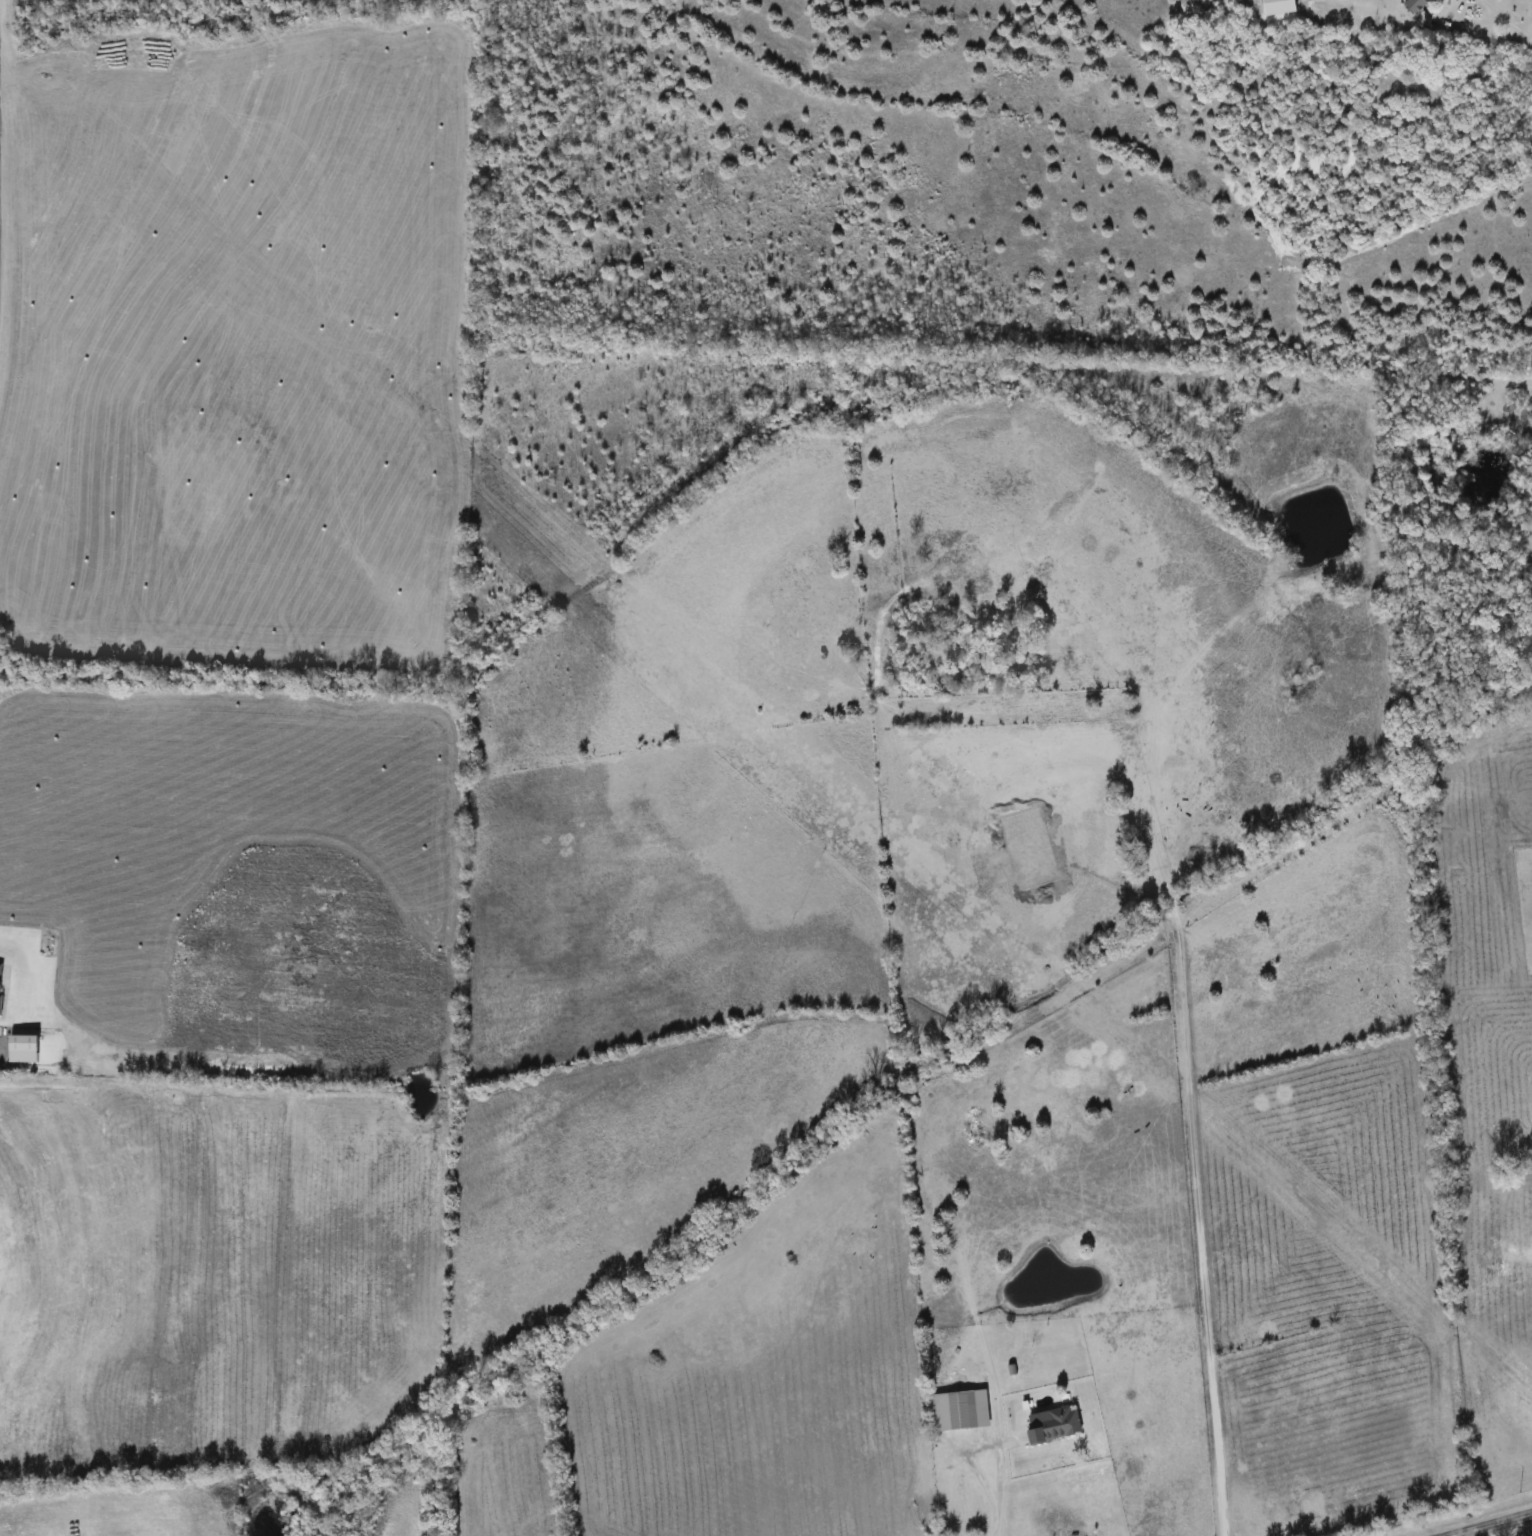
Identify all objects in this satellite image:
building: (1421, 5)
road: (1503, 21)
building: (961, 1411)
building: (1055, 1425)
road: (998, 1490)
road: (1489, 1524)

